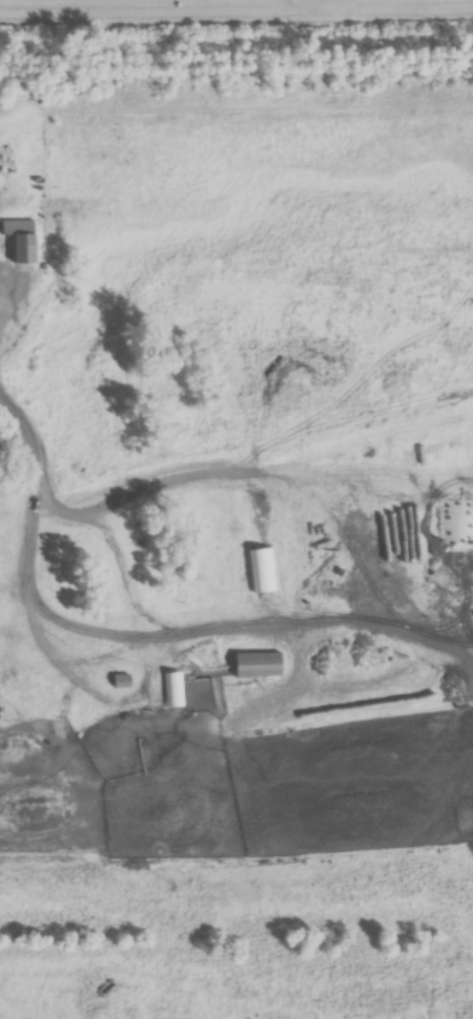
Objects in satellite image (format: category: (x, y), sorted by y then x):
building: (21, 240)
building: (8, 494)
building: (258, 667)
building: (121, 683)
building: (173, 691)
building: (150, 757)

